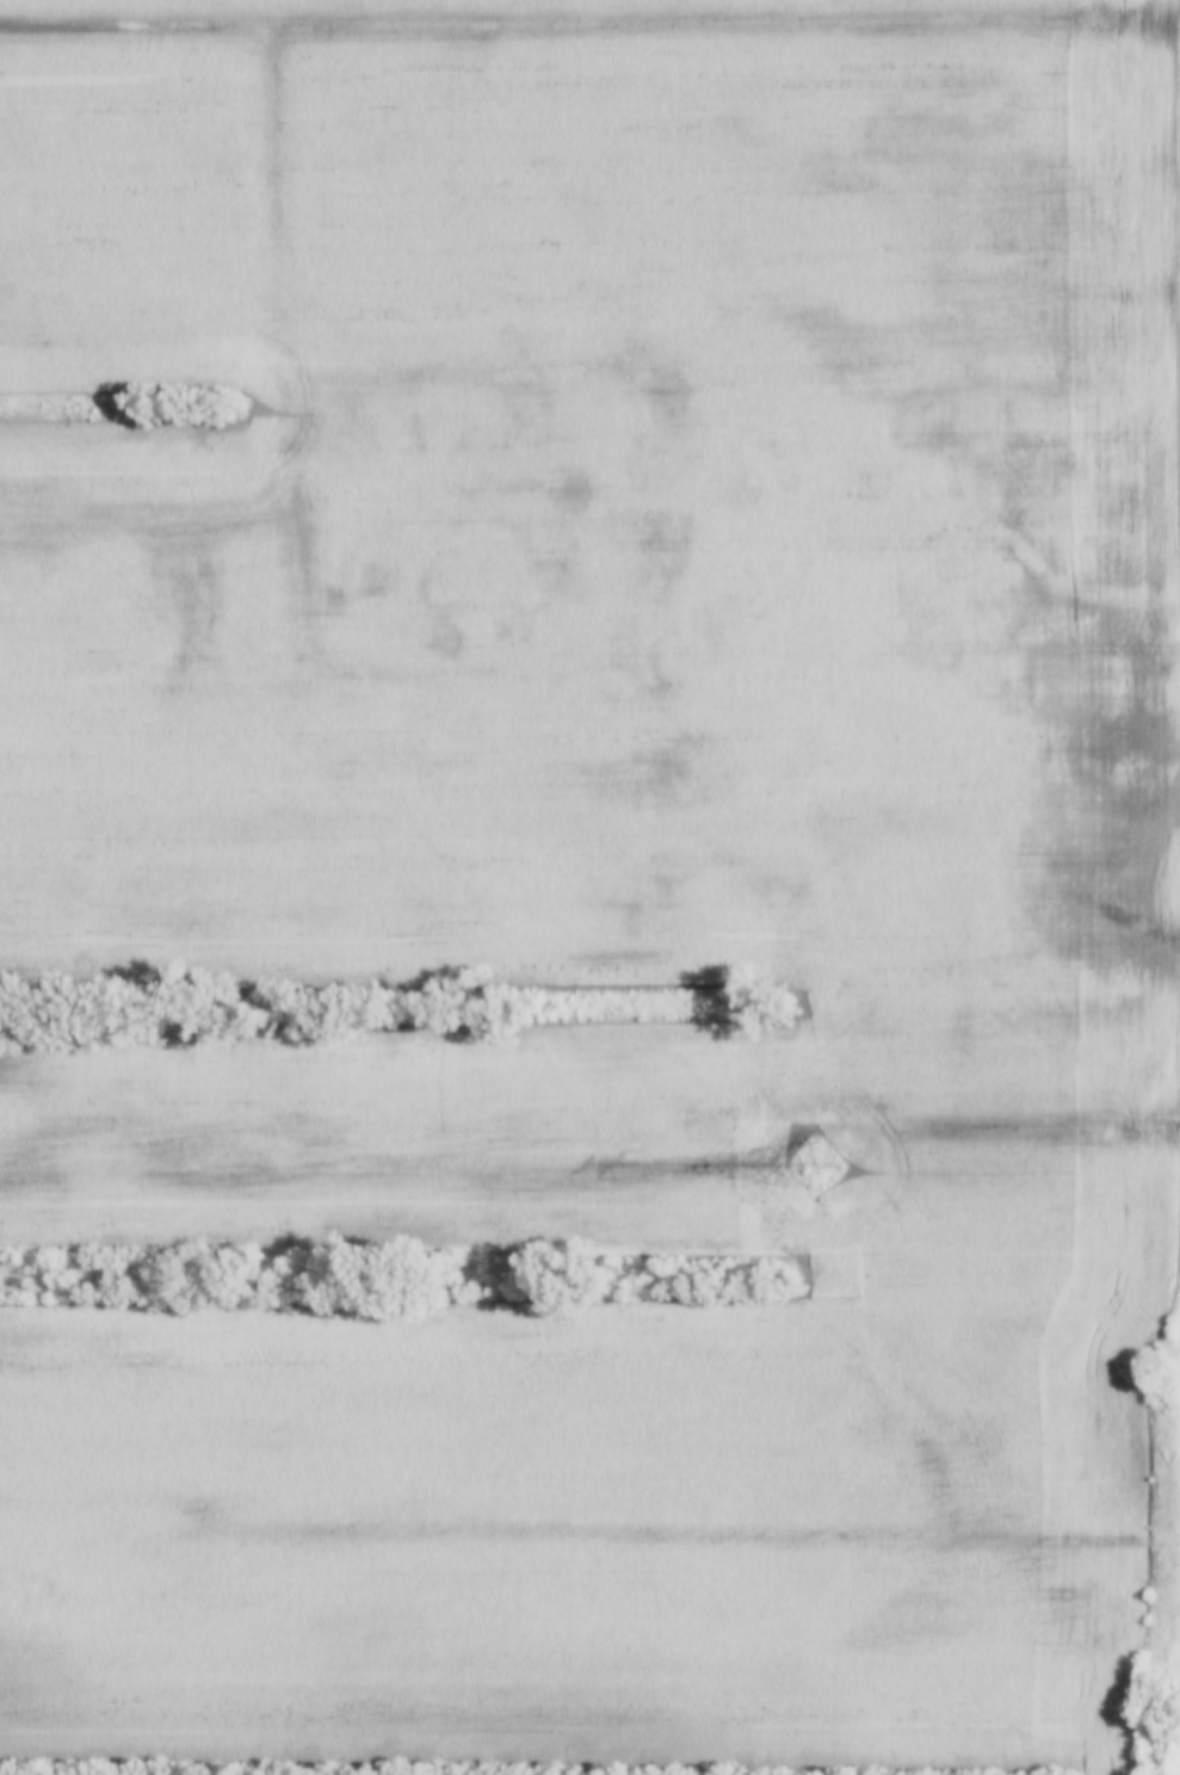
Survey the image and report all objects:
power tower: (807, 1176)

